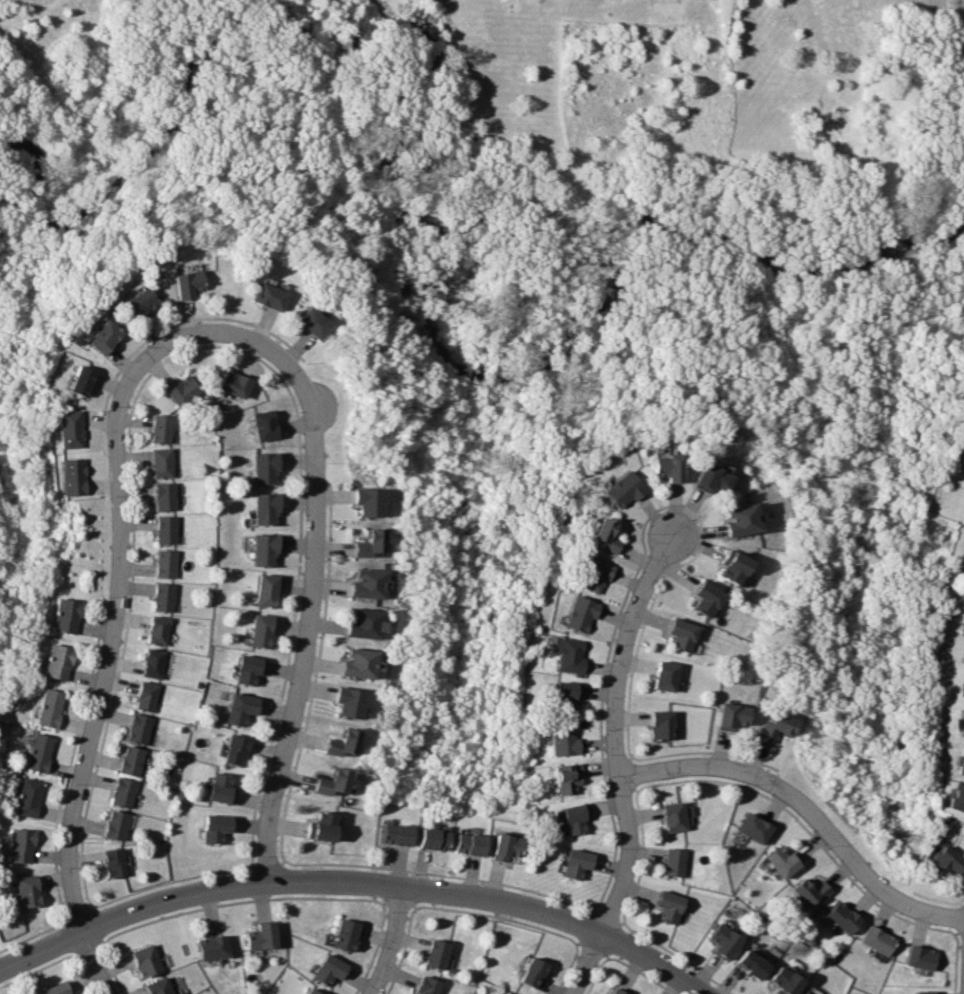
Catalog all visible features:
river: (384, 141)
building: (188, 284)
park: (551, 293)
building: (271, 297)
building: (141, 303)
building: (315, 323)
building: (105, 338)
building: (81, 381)
building: (235, 384)
building: (183, 391)
building: (266, 425)
building: (67, 428)
building: (162, 429)
building: (163, 462)
building: (666, 467)
building: (267, 468)
building: (70, 476)
building: (709, 479)
building: (620, 489)
building: (166, 494)
building: (370, 499)
building: (268, 506)
building: (739, 521)
building: (167, 528)
building: (603, 536)
building: (372, 540)
building: (266, 547)
road: (641, 556)
building: (166, 561)
building: (731, 567)
building: (591, 574)
building: (369, 581)
building: (268, 589)
building: (164, 595)
road: (118, 599)
building: (704, 599)
building: (66, 613)
building: (577, 614)
building: (366, 621)
road: (306, 624)
building: (159, 628)
building: (262, 629)
building: (679, 635)
building: (565, 655)
building: (58, 659)
building: (360, 660)
building: (154, 662)
building: (251, 669)
building: (664, 677)
building: (963, 682)
building: (133, 687)
building: (147, 695)
building: (562, 696)
building: (351, 701)
building: (49, 705)
building: (242, 707)
building: (728, 716)
building: (960, 721)
building: (658, 726)
building: (140, 727)
building: (771, 727)
building: (559, 739)
building: (345, 741)
building: (237, 748)
building: (38, 751)
road: (702, 752)
building: (132, 760)
building: (960, 761)
road: (623, 764)
road: (628, 774)
building: (564, 779)
building: (334, 782)
building: (223, 787)
building: (123, 791)
building: (27, 796)
building: (956, 796)
road: (808, 808)
building: (571, 818)
building: (671, 818)
building: (116, 823)
building: (322, 825)
building: (217, 826)
building: (751, 829)
road: (804, 830)
road: (840, 830)
building: (389, 834)
building: (427, 840)
building: (19, 845)
building: (464, 845)
building: (501, 848)
road: (640, 857)
building: (115, 861)
building: (779, 861)
building: (942, 862)
building: (671, 863)
building: (573, 864)
road: (265, 865)
road: (437, 874)
road: (168, 881)
road: (358, 882)
building: (27, 890)
building: (805, 892)
road: (961, 894)
road: (931, 898)
road: (394, 901)
road: (237, 902)
building: (666, 907)
road: (81, 914)
road: (495, 916)
road: (602, 917)
road: (958, 917)
building: (837, 918)
road: (95, 927)
road: (585, 930)
road: (69, 932)
building: (340, 932)
building: (257, 934)
road: (611, 935)
building: (720, 937)
road: (392, 941)
building: (873, 941)
building: (210, 944)
road: (84, 945)
road: (596, 947)
road: (371, 950)
road: (400, 951)
building: (433, 951)
road: (676, 956)
building: (144, 958)
building: (917, 958)
building: (745, 961)
road: (953, 963)
building: (325, 967)
road: (112, 968)
building: (534, 971)
road: (84, 974)
building: (778, 979)
building: (424, 984)
building: (157, 985)
building: (53, 987)
building: (308, 991)
building: (620, 991)
building: (799, 991)
building: (921, 991)
building: (808, 992)
building: (503, 993)
building: (508, 993)

